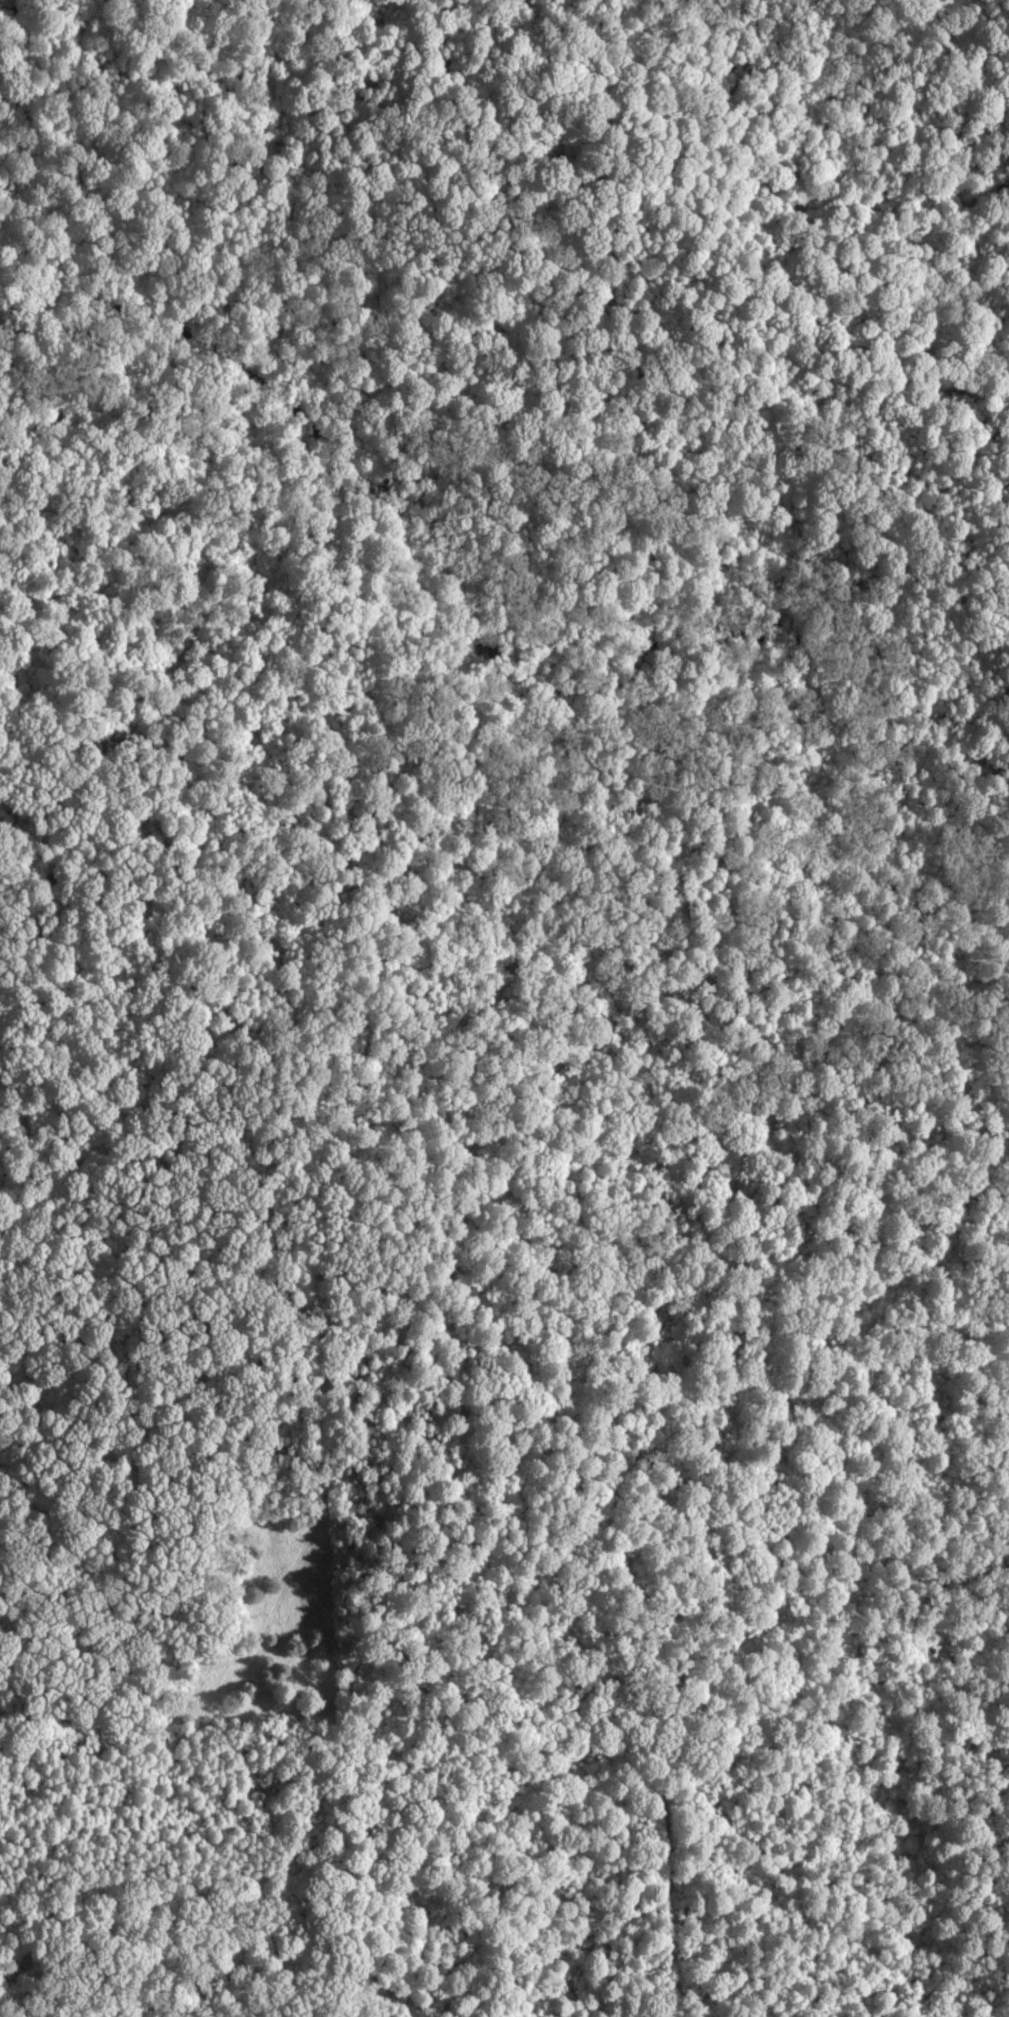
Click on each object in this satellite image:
road: (684, 1914)

